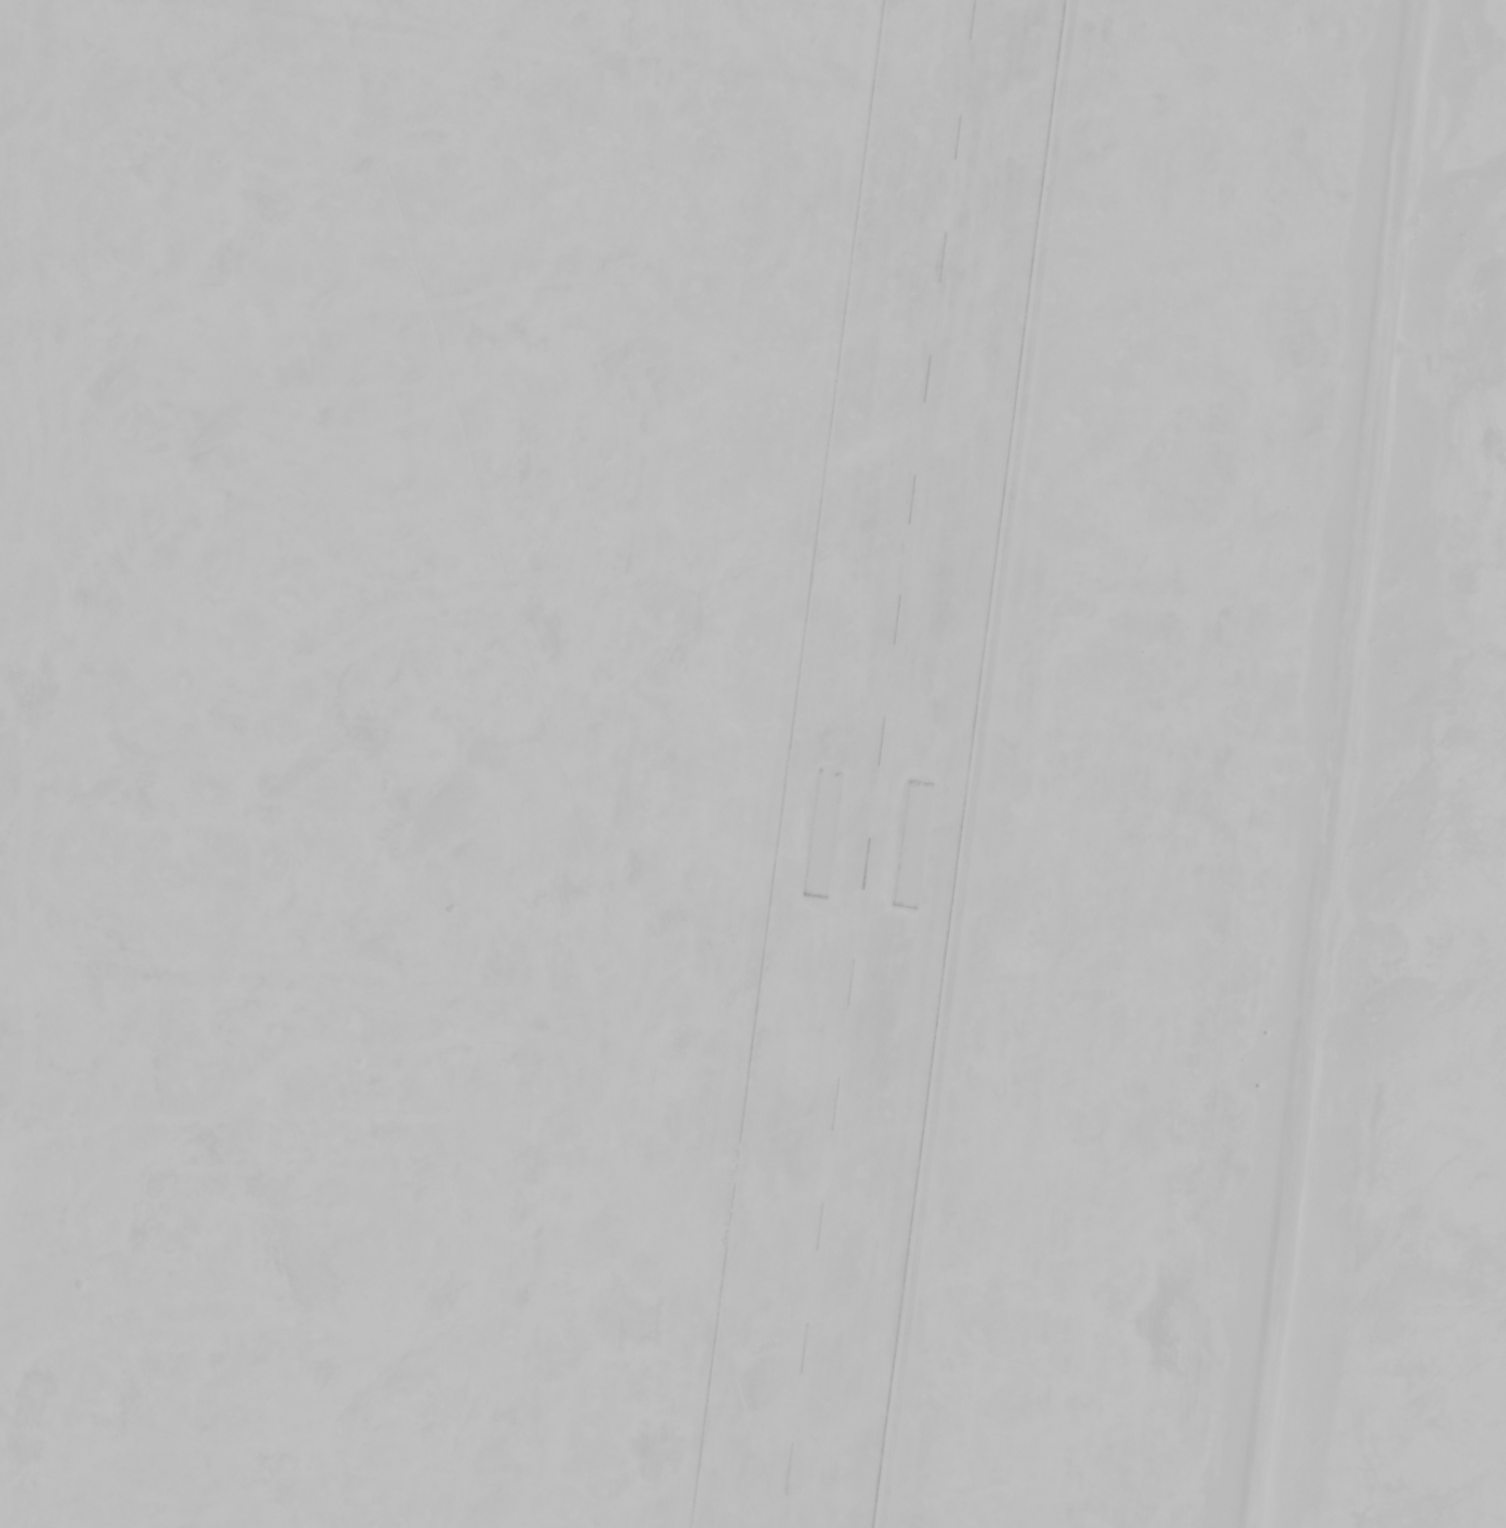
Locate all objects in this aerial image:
building: (291, 410)
building: (1496, 594)
road: (1318, 763)
airport runway: (871, 764)
building: (1494, 814)
building: (1472, 978)

